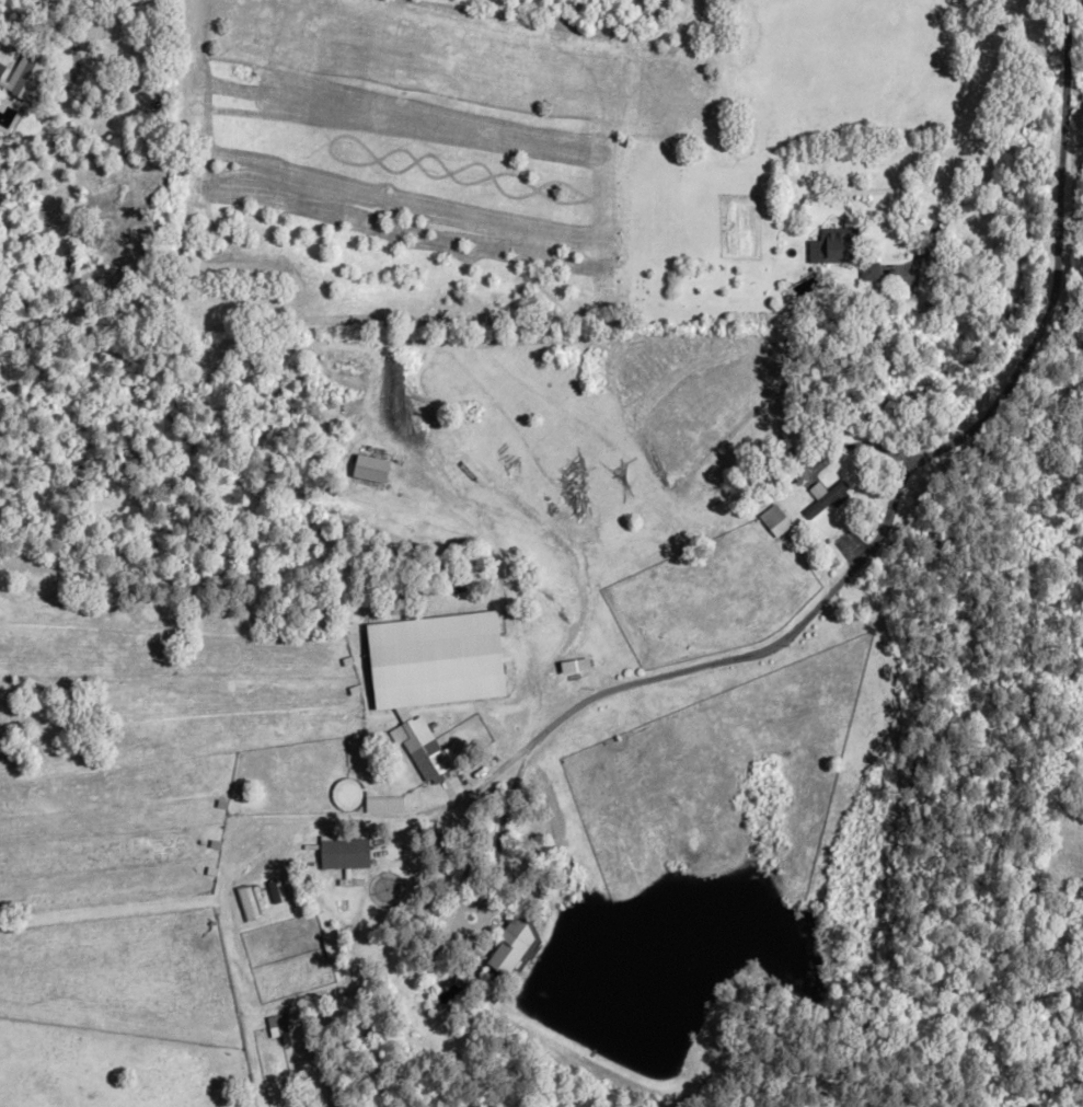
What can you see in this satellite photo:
building: (729, 10)
building: (837, 246)
building: (1017, 288)
road: (899, 489)
building: (828, 499)
building: (779, 521)
building: (405, 734)
building: (438, 759)
building: (388, 803)
road: (502, 828)
building: (349, 853)
building: (515, 946)
building: (280, 1025)

